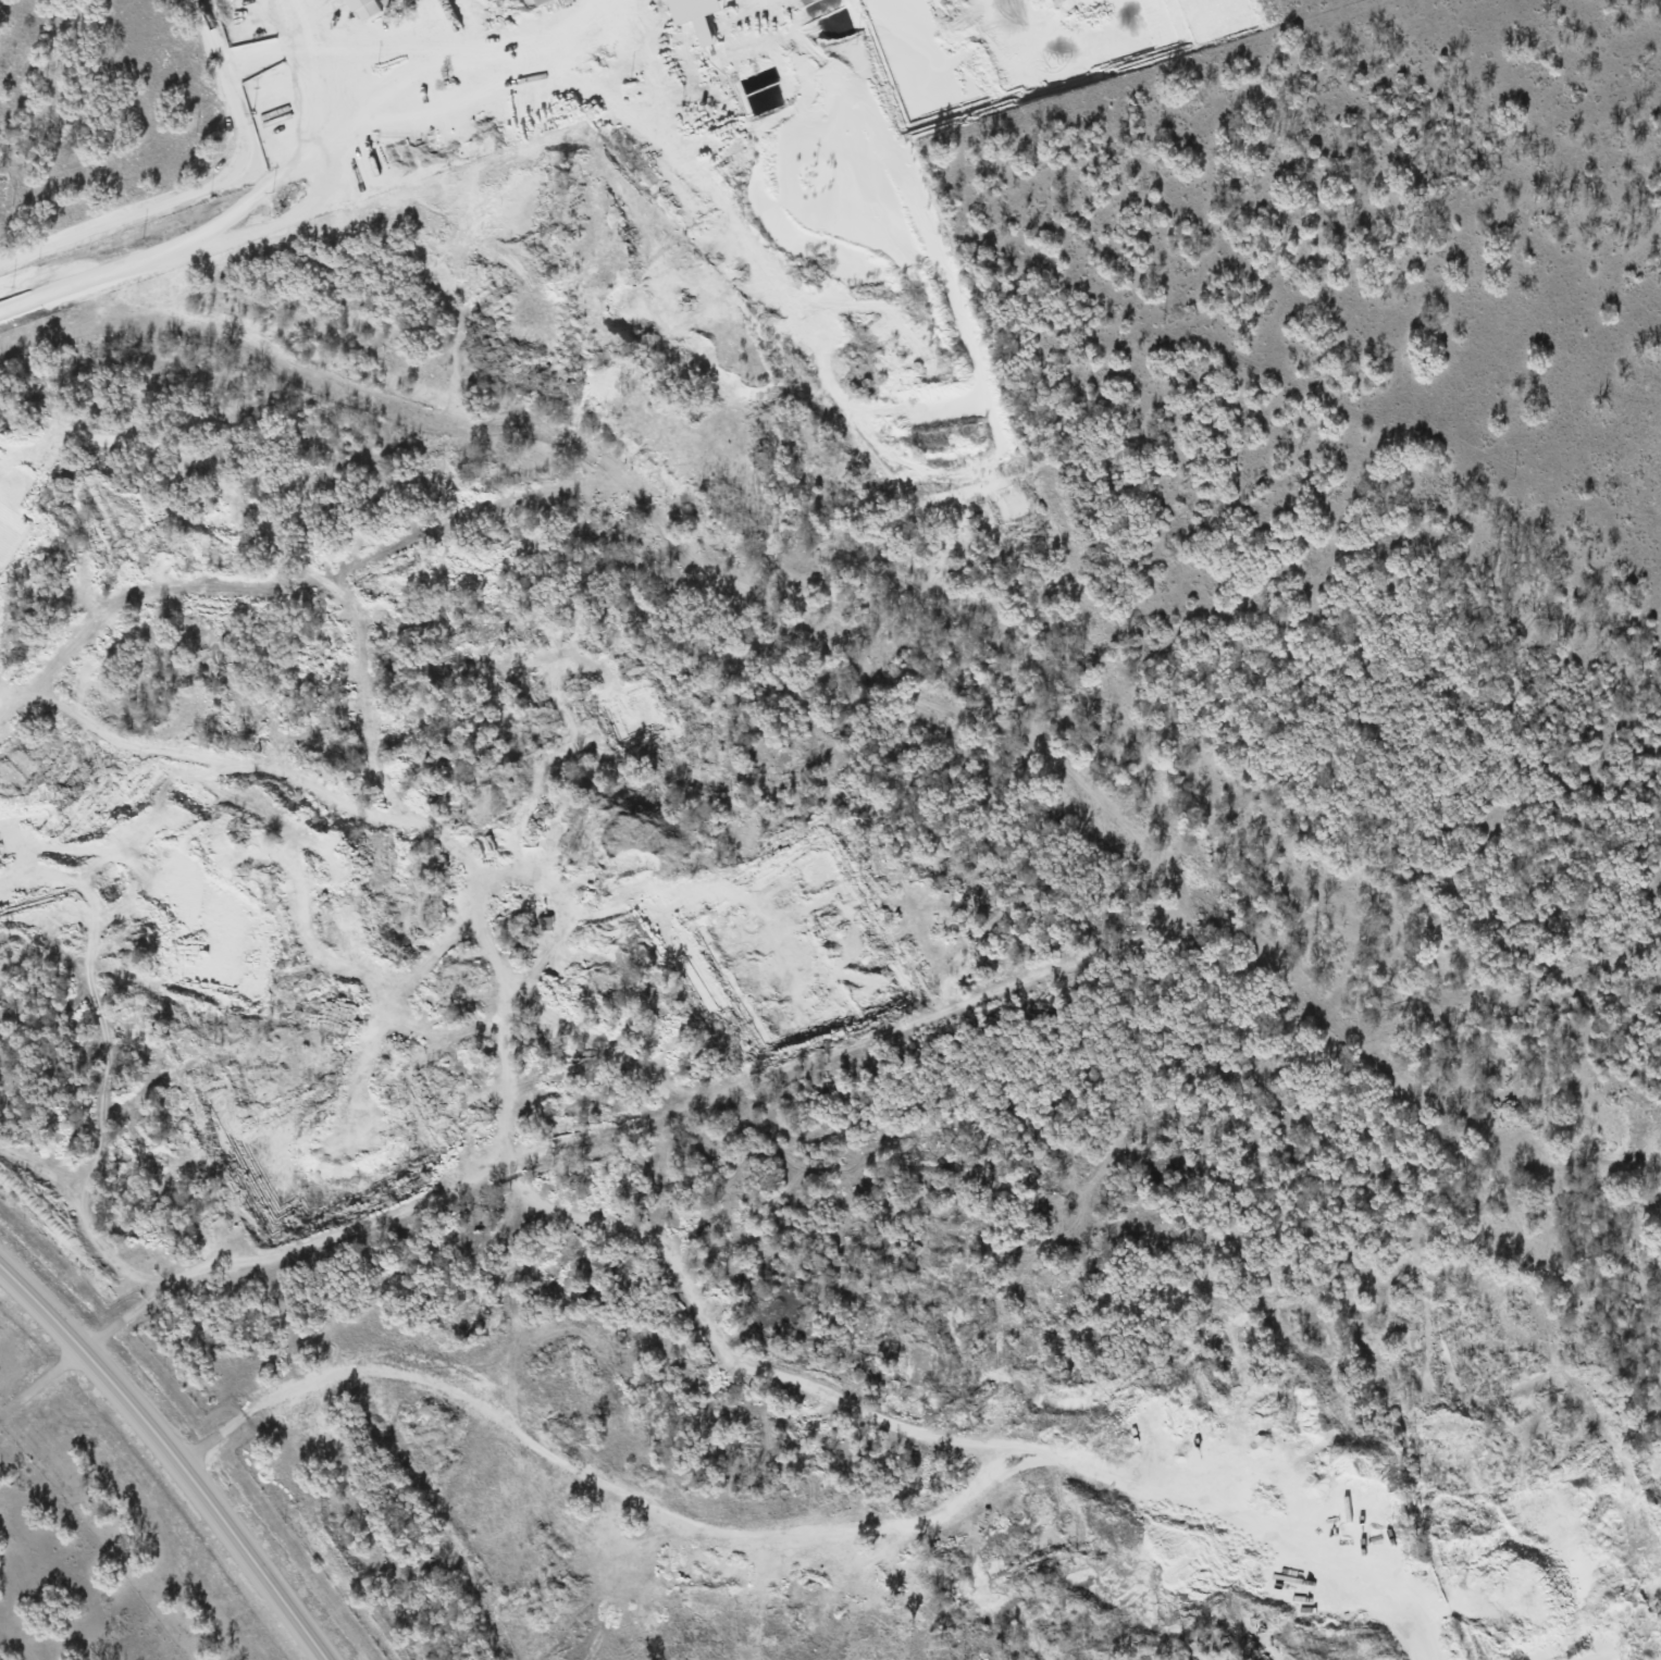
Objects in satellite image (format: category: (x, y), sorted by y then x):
building: (381, 0)
building: (393, 0)
building: (541, 1)
building: (362, 9)
building: (694, 15)
road: (202, 193)
quarry: (724, 498)
road: (174, 1453)

